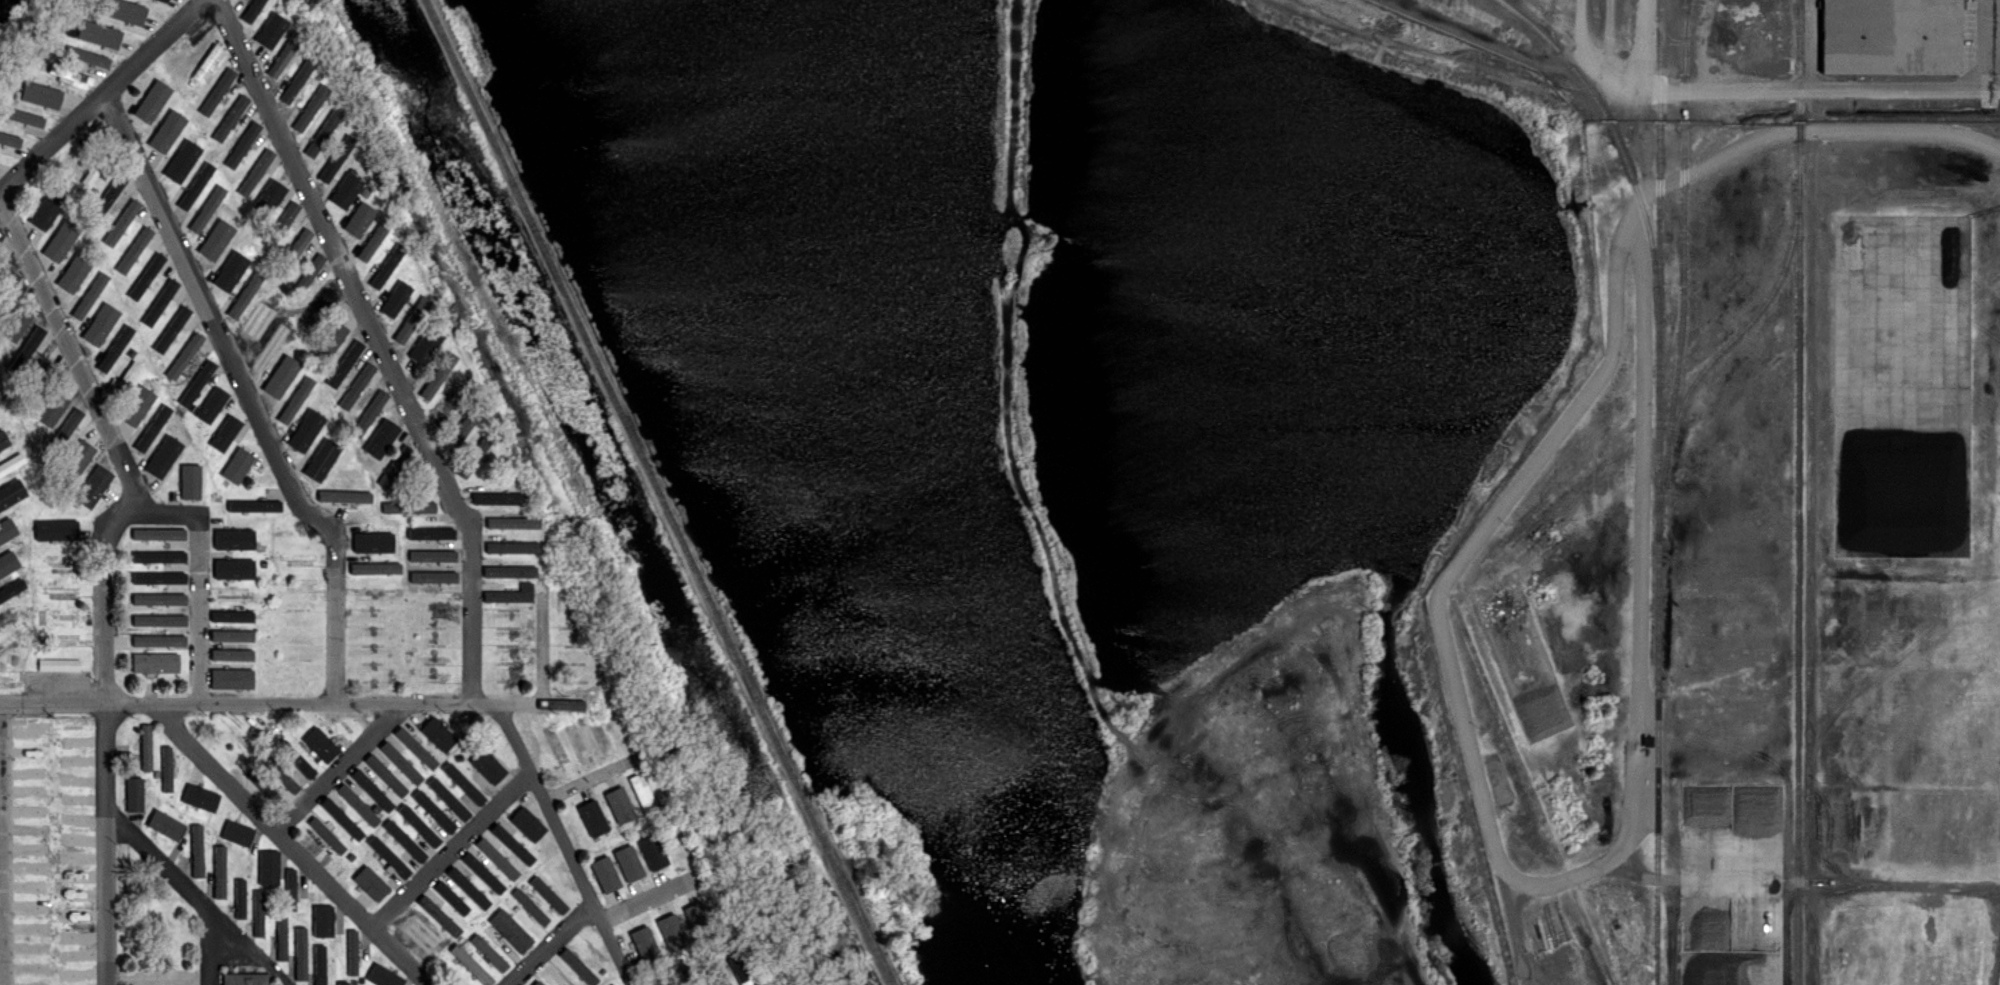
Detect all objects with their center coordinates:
building: (163, 1)
building: (170, 1)
building: (279, 6)
building: (255, 11)
building: (136, 14)
building: (110, 17)
building: (88, 28)
building: (271, 29)
railway: (1801, 32)
building: (112, 35)
railway: (1689, 37)
road: (1999, 37)
building: (69, 50)
building: (92, 55)
building: (282, 58)
building: (206, 63)
building: (43, 68)
building: (1, 73)
building: (70, 75)
building: (298, 79)
building: (192, 83)
road: (1789, 89)
building: (217, 91)
road: (100, 93)
building: (48, 95)
building: (157, 95)
building: (17, 96)
building: (3, 109)
building: (310, 110)
building: (187, 114)
building: (153, 116)
building: (27, 117)
building: (230, 117)
building: (168, 118)
building: (322, 133)
building: (84, 134)
building: (12, 139)
building: (165, 139)
railway: (1620, 141)
building: (243, 144)
building: (196, 146)
building: (65, 153)
building: (336, 158)
building: (2, 163)
building: (97, 166)
building: (180, 168)
building: (256, 173)
building: (347, 189)
building: (112, 191)
building: (194, 193)
building: (365, 193)
building: (268, 199)
building: (75, 200)
building: (87, 200)
building: (207, 208)
building: (272, 210)
building: (96, 213)
building: (49, 214)
building: (359, 220)
building: (121, 222)
building: (225, 222)
building: (383, 224)
building: (281, 225)
building: (61, 239)
building: (137, 244)
building: (219, 246)
building: (372, 247)
building: (295, 249)
building: (265, 252)
building: (399, 252)
building: (2, 254)
building: (123, 265)
building: (150, 272)
railway: (1685, 272)
building: (385, 273)
building: (76, 274)
building: (262, 275)
building: (230, 276)
building: (308, 277)
building: (410, 280)
building: (103, 281)
building: (8, 288)
building: (135, 293)
building: (396, 298)
building: (160, 300)
building: (244, 301)
building: (87, 302)
building: (292, 303)
building: (117, 305)
building: (318, 306)
building: (17, 319)
building: (435, 319)
building: (257, 322)
building: (143, 323)
building: (127, 324)
building: (409, 327)
building: (101, 328)
building: (172, 329)
building: (286, 330)
building: (332, 332)
railway: (1741, 332)
building: (14, 338)
building: (292, 340)
road: (380, 342)
building: (30, 346)
building: (426, 349)
building: (269, 351)
building: (113, 354)
building: (132, 354)
building: (185, 354)
building: (345, 363)
building: (320, 369)
building: (43, 374)
building: (281, 376)
building: (171, 377)
building: (437, 378)
building: (200, 379)
building: (125, 381)
building: (357, 385)
building: (458, 387)
building: (2, 394)
road: (247, 394)
building: (30, 397)
building: (197, 397)
building: (137, 406)
building: (212, 406)
building: (51, 408)
building: (447, 408)
building: (294, 409)
building: (323, 413)
building: (371, 415)
building: (198, 426)
building: (67, 427)
building: (152, 428)
building: (5, 432)
building: (225, 432)
building: (459, 432)
building: (307, 435)
building: (334, 435)
building: (381, 438)
building: (8, 440)
building: (359, 441)
park: (789, 443)
building: (79, 454)
building: (163, 456)
building: (208, 456)
building: (368, 459)
building: (321, 461)
road: (125, 464)
building: (237, 465)
building: (395, 466)
building: (7, 470)
building: (190, 481)
building: (62, 482)
building: (91, 486)
building: (24, 489)
railway: (658, 492)
railway: (1660, 492)
railway: (1802, 492)
building: (493, 497)
building: (519, 497)
building: (341, 498)
building: (8, 500)
building: (76, 505)
building: (258, 505)
building: (412, 507)
building: (360, 509)
building: (529, 512)
building: (14, 515)
building: (241, 515)
building: (374, 521)
building: (511, 524)
building: (33, 528)
building: (60, 528)
building: (7, 529)
building: (408, 531)
building: (159, 533)
building: (433, 534)
building: (234, 538)
building: (372, 543)
building: (240, 548)
building: (509, 549)
building: (407, 552)
building: (133, 556)
building: (159, 556)
building: (271, 558)
building: (430, 559)
building: (8, 563)
building: (375, 567)
building: (408, 567)
building: (239, 573)
building: (510, 573)
building: (159, 577)
building: (409, 582)
building: (434, 582)
building: (271, 583)
building: (263, 585)
building: (7, 589)
building: (245, 589)
building: (235, 596)
building: (511, 597)
building: (159, 598)
building: (18, 609)
building: (30, 609)
building: (232, 615)
building: (6, 619)
building: (159, 619)
building: (232, 635)
building: (61, 638)
building: (158, 640)
building: (0, 644)
building: (8, 648)
building: (232, 654)
building: (123, 657)
building: (156, 664)
building: (62, 665)
building: (231, 678)
building: (6, 682)
building: (18, 684)
road: (293, 701)
road: (105, 732)
building: (438, 733)
building: (598, 739)
building: (320, 743)
building: (575, 745)
building: (146, 748)
building: (413, 749)
building: (400, 764)
building: (301, 765)
building: (488, 765)
building: (167, 766)
road: (341, 766)
building: (129, 774)
building: (156, 774)
building: (385, 777)
road: (594, 777)
building: (174, 780)
building: (286, 780)
building: (463, 783)
building: (262, 789)
building: (371, 789)
railway: (1533, 792)
building: (134, 795)
building: (400, 795)
building: (200, 797)
building: (642, 797)
building: (448, 798)
building: (357, 804)
building: (616, 805)
building: (207, 809)
building: (434, 810)
building: (671, 810)
building: (186, 811)
building: (592, 817)
building: (341, 818)
building: (179, 823)
building: (419, 825)
building: (526, 831)
building: (237, 832)
building: (209, 833)
building: (325, 834)
building: (677, 838)
building: (405, 842)
road: (565, 842)
road: (2, 843)
building: (512, 843)
building: (545, 846)
road: (291, 847)
road: (452, 848)
building: (341, 849)
building: (197, 850)
building: (610, 850)
building: (659, 853)
building: (388, 856)
building: (351, 857)
building: (496, 857)
building: (635, 864)
building: (268, 867)
building: (219, 871)
building: (482, 872)
building: (611, 875)
building: (516, 877)
building: (370, 883)
building: (467, 887)
building: (290, 889)
building: (548, 894)
road: (195, 895)
building: (239, 897)
building: (450, 897)
road: (649, 897)
building: (530, 906)
building: (258, 912)
building: (699, 916)
building: (322, 920)
building: (675, 928)
building: (510, 930)
building: (279, 932)
building: (425, 933)
building: (454, 934)
building: (650, 939)
building: (447, 941)
building: (461, 941)
road: (549, 943)
building: (729, 943)
road: (209, 946)
building: (352, 952)
building: (488, 952)
building: (300, 953)
building: (319, 957)
building: (578, 966)
building: (475, 967)
building: (741, 967)
building: (675, 971)
building: (714, 972)
building: (323, 973)
building: (687, 974)
building: (394, 978)
road: (158, 980)
building: (660, 980)
building: (243, 981)
building: (361, 981)
building: (342, 982)
building: (540, 983)

